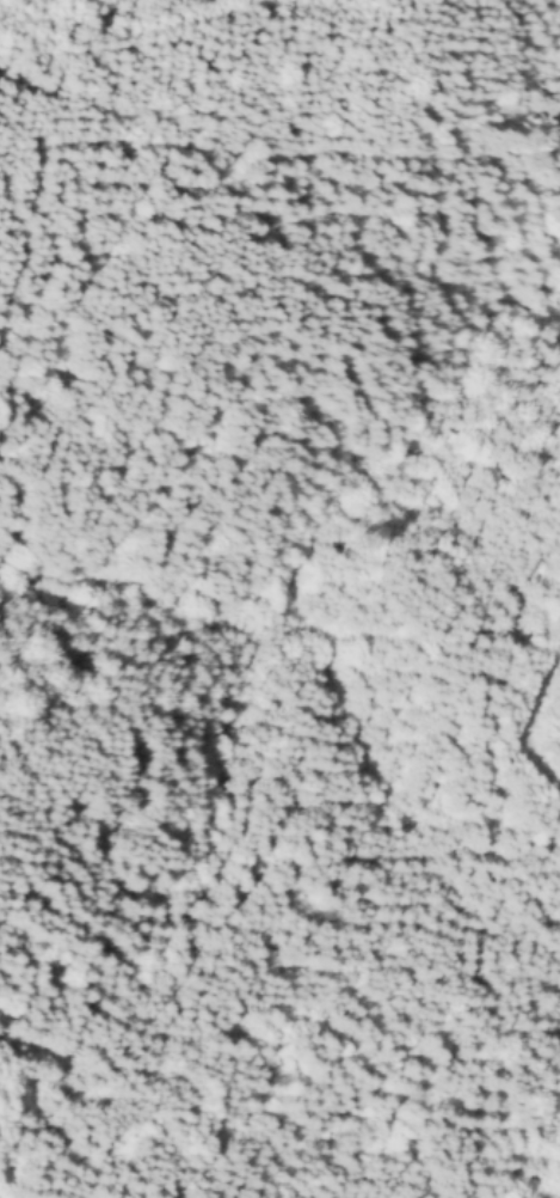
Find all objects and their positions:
road: (521, 723)

